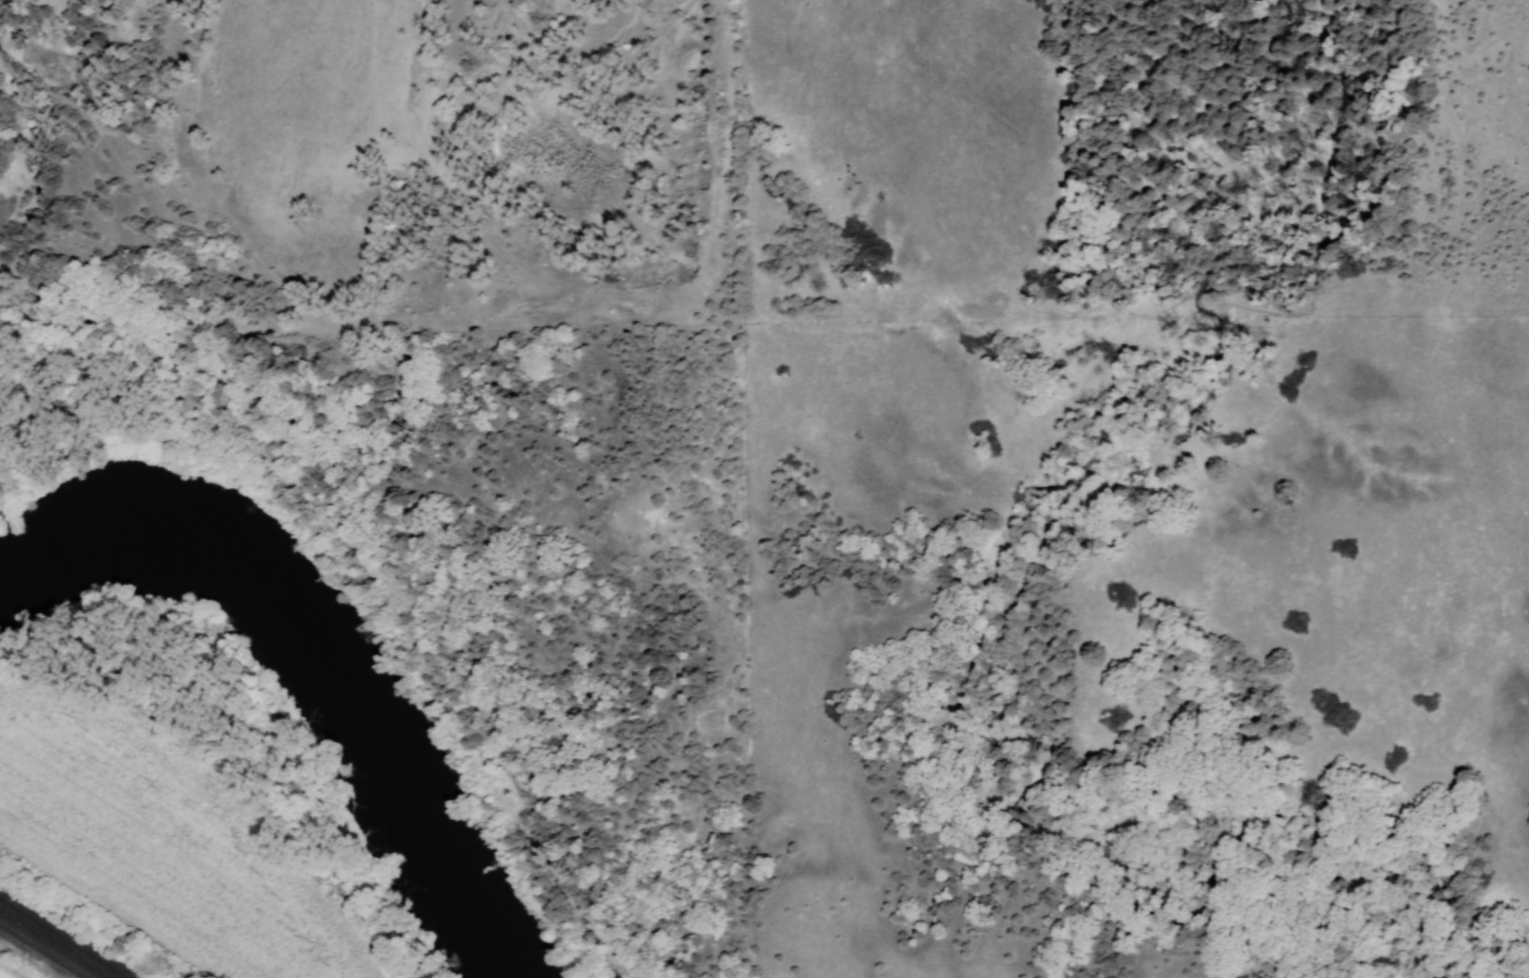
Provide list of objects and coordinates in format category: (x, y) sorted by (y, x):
railway: (57, 942)
railway: (45, 949)

